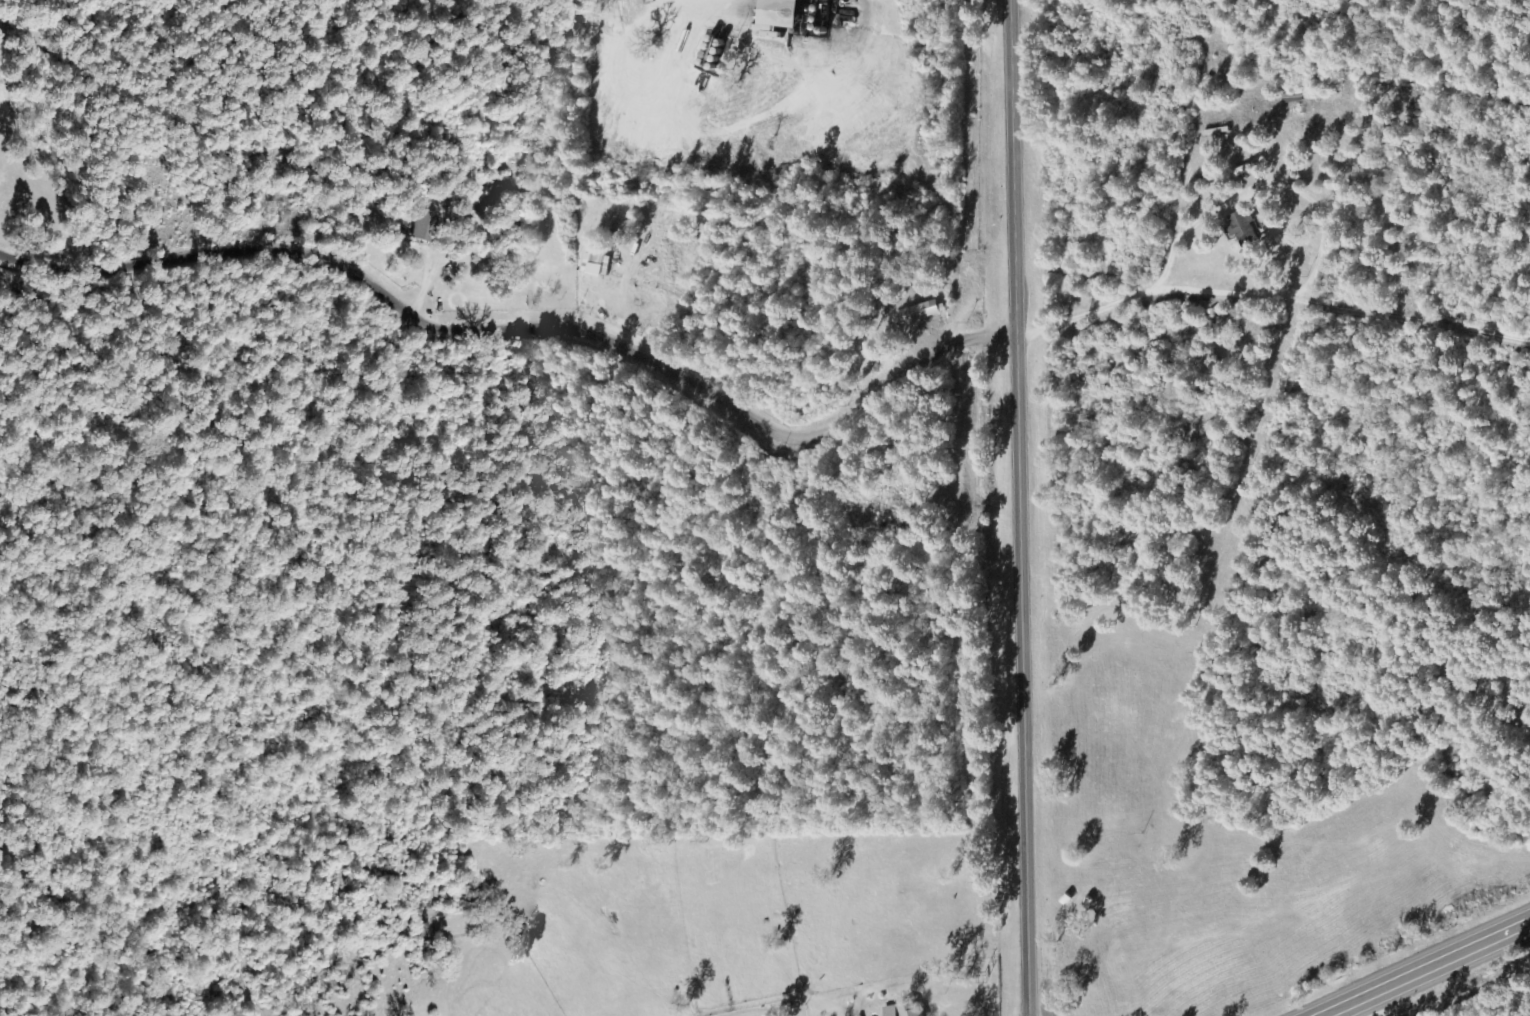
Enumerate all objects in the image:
building: (775, 13)
road: (1334, 22)
building: (1247, 180)
building: (419, 226)
building: (1241, 227)
building: (595, 265)
building: (919, 312)
road: (526, 357)
road: (1020, 508)
road: (1429, 970)
building: (904, 1010)

